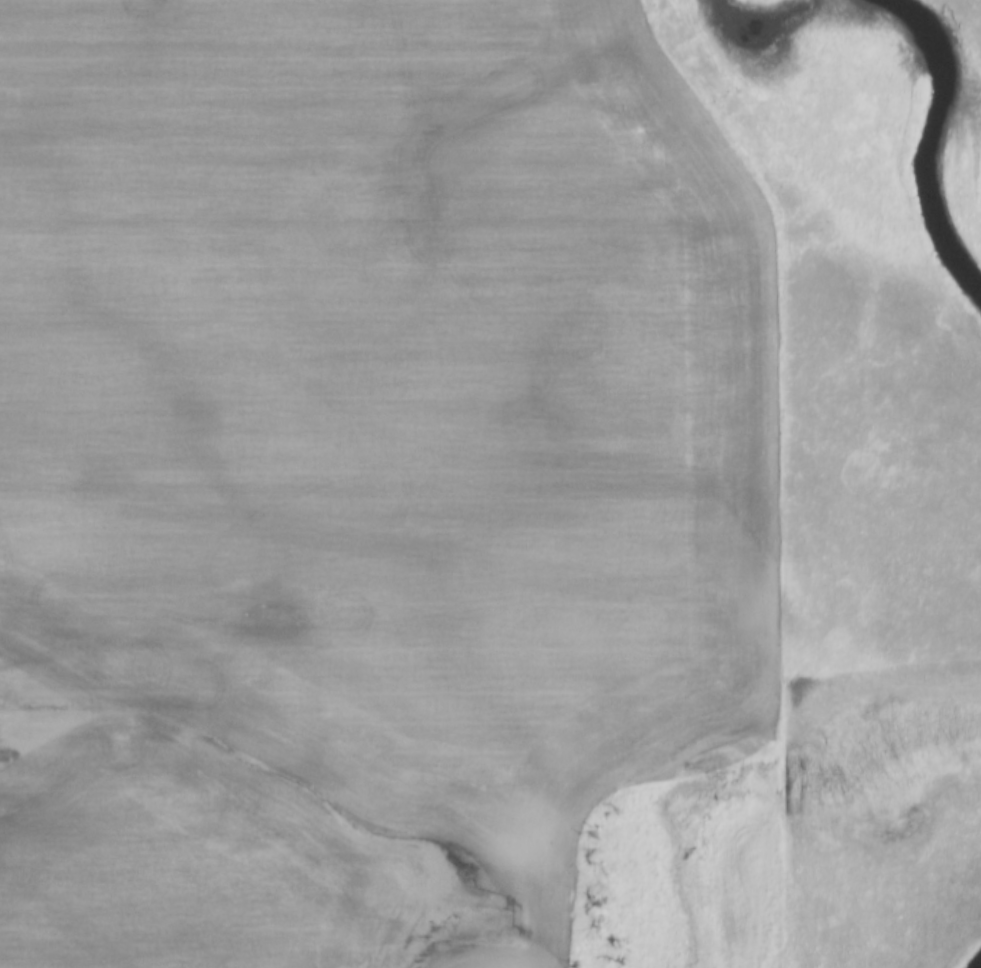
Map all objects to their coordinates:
river: (961, 113)

